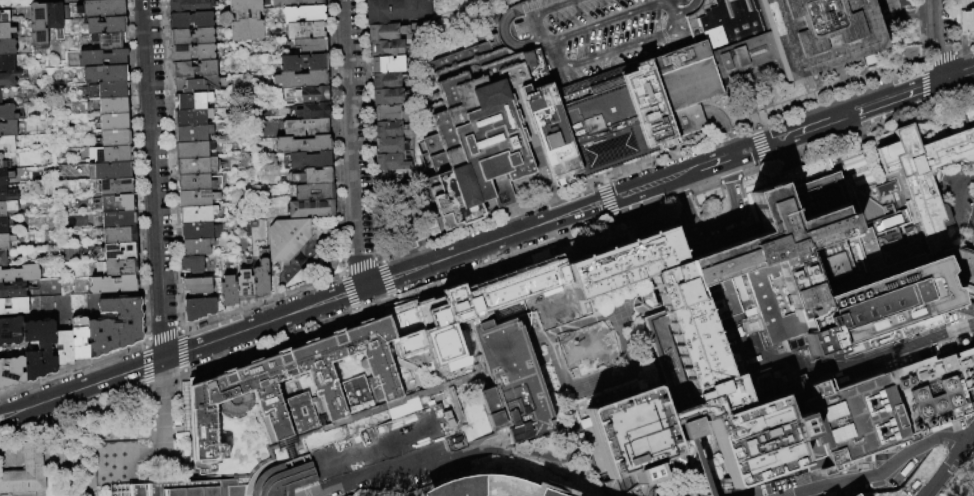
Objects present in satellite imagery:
road: (15, 0)
building: (283, 4)
building: (189, 6)
parking lot: (890, 7)
building: (100, 9)
building: (890, 9)
building: (395, 10)
building: (65, 12)
road: (908, 12)
building: (304, 14)
building: (4, 17)
building: (54, 19)
building: (190, 20)
building: (246, 21)
building: (965, 22)
building: (38, 25)
building: (105, 25)
building: (305, 30)
building: (6, 31)
building: (385, 32)
building: (819, 33)
building: (592, 36)
parking lot: (592, 36)
building: (191, 37)
road: (937, 40)
building: (109, 41)
building: (725, 41)
building: (311, 46)
building: (7, 47)
building: (386, 48)
road: (963, 49)
building: (192, 53)
building: (908, 54)
building: (101, 58)
road: (937, 58)
building: (6, 63)
building: (303, 63)
building: (387, 64)
building: (837, 68)
building: (193, 69)
building: (104, 74)
road: (956, 74)
building: (8, 79)
building: (301, 79)
building: (386, 81)
building: (196, 85)
building: (107, 90)
building: (307, 94)
road: (838, 95)
road: (897, 95)
building: (387, 97)
building: (191, 101)
building: (672, 102)
road: (747, 103)
building: (112, 106)
building: (312, 111)
building: (7, 112)
building: (389, 113)
road: (769, 113)
building: (192, 117)
building: (113, 122)
building: (583, 125)
road: (870, 126)
building: (305, 127)
road: (351, 127)
road: (755, 127)
building: (8, 128)
road: (724, 128)
road: (366, 129)
building: (390, 129)
road: (794, 132)
building: (193, 133)
road: (863, 134)
road: (333, 136)
building: (113, 139)
building: (7, 143)
building: (302, 145)
building: (388, 145)
road: (761, 145)
building: (478, 147)
building: (193, 149)
building: (111, 154)
traffic signals: (734, 155)
road: (783, 155)
building: (309, 160)
road: (715, 161)
building: (390, 162)
road: (766, 162)
road: (858, 162)
building: (2, 163)
road: (170, 164)
building: (197, 166)
road: (135, 170)
road: (752, 170)
building: (111, 171)
road: (686, 172)
building: (929, 172)
road: (971, 173)
building: (5, 176)
building: (313, 176)
road: (154, 179)
road: (728, 179)
building: (198, 182)
road: (595, 184)
building: (116, 187)
road: (703, 188)
building: (889, 189)
building: (313, 192)
road: (953, 192)
road: (568, 193)
building: (6, 195)
road: (679, 195)
building: (198, 199)
road: (601, 200)
building: (117, 203)
road: (743, 204)
building: (310, 208)
road: (640, 208)
building: (5, 209)
building: (196, 214)
building: (971, 217)
building: (117, 219)
road: (720, 224)
building: (4, 225)
building: (200, 231)
building: (970, 234)
building: (119, 235)
road: (694, 237)
building: (287, 239)
building: (5, 241)
building: (196, 246)
building: (120, 251)
building: (2, 258)
road: (378, 258)
building: (625, 263)
building: (192, 264)
road: (358, 264)
building: (117, 268)
building: (836, 269)
road: (362, 270)
road: (341, 271)
building: (20, 273)
road: (385, 276)
road: (439, 278)
building: (261, 280)
building: (112, 284)
building: (197, 286)
building: (243, 287)
building: (12, 290)
building: (742, 290)
building: (227, 291)
road: (348, 293)
road: (389, 294)
road: (337, 296)
road: (262, 301)
building: (483, 305)
building: (13, 306)
building: (198, 309)
building: (114, 327)
road: (179, 328)
road: (179, 329)
building: (10, 330)
road: (161, 333)
building: (79, 338)
road: (143, 342)
building: (965, 343)
building: (698, 347)
building: (63, 348)
building: (38, 349)
road: (903, 349)
road: (180, 350)
road: (227, 356)
road: (144, 366)
road: (71, 370)
building: (11, 372)
building: (513, 380)
road: (145, 386)
building: (234, 391)
road: (295, 392)
road: (164, 405)
road: (93, 406)
building: (881, 410)
building: (304, 413)
building: (400, 433)
road: (955, 433)
building: (635, 434)
building: (762, 441)
road: (63, 445)
building: (696, 448)
road: (480, 452)
road: (297, 460)
road: (433, 463)
building: (114, 464)
road: (873, 465)
road: (951, 465)
building: (907, 470)
building: (27, 473)
building: (282, 477)
road: (355, 478)
park: (961, 479)
road: (301, 480)
building: (874, 486)
building: (488, 487)
building: (178, 489)
building: (942, 489)
park: (386, 492)
building: (754, 492)
building: (641, 494)
building: (857, 495)

